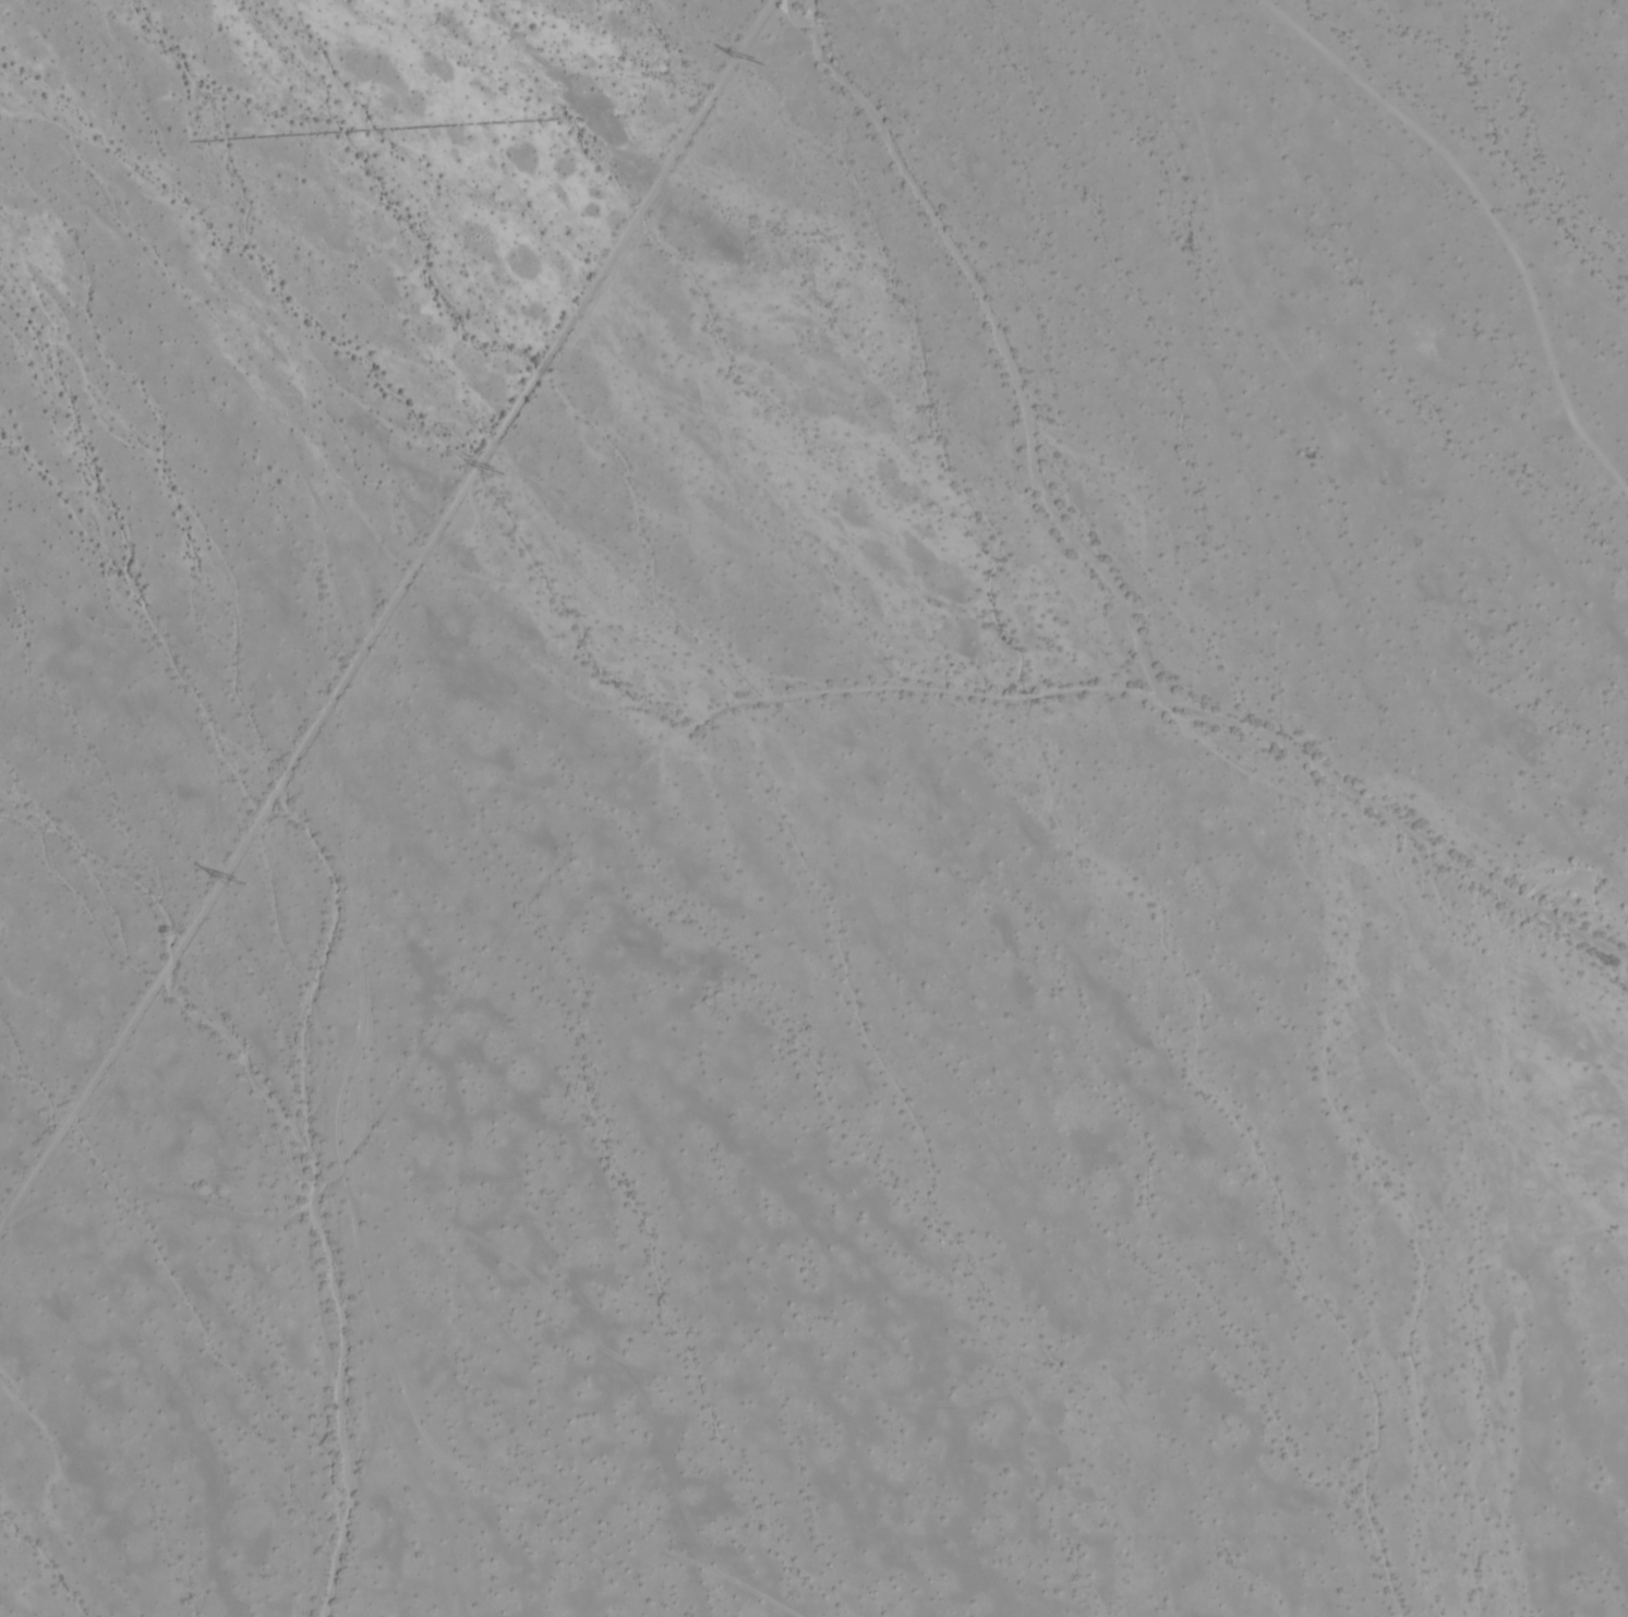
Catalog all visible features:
power tower: (761, 64)
power tower: (498, 474)
road: (385, 606)
power tower: (240, 880)

